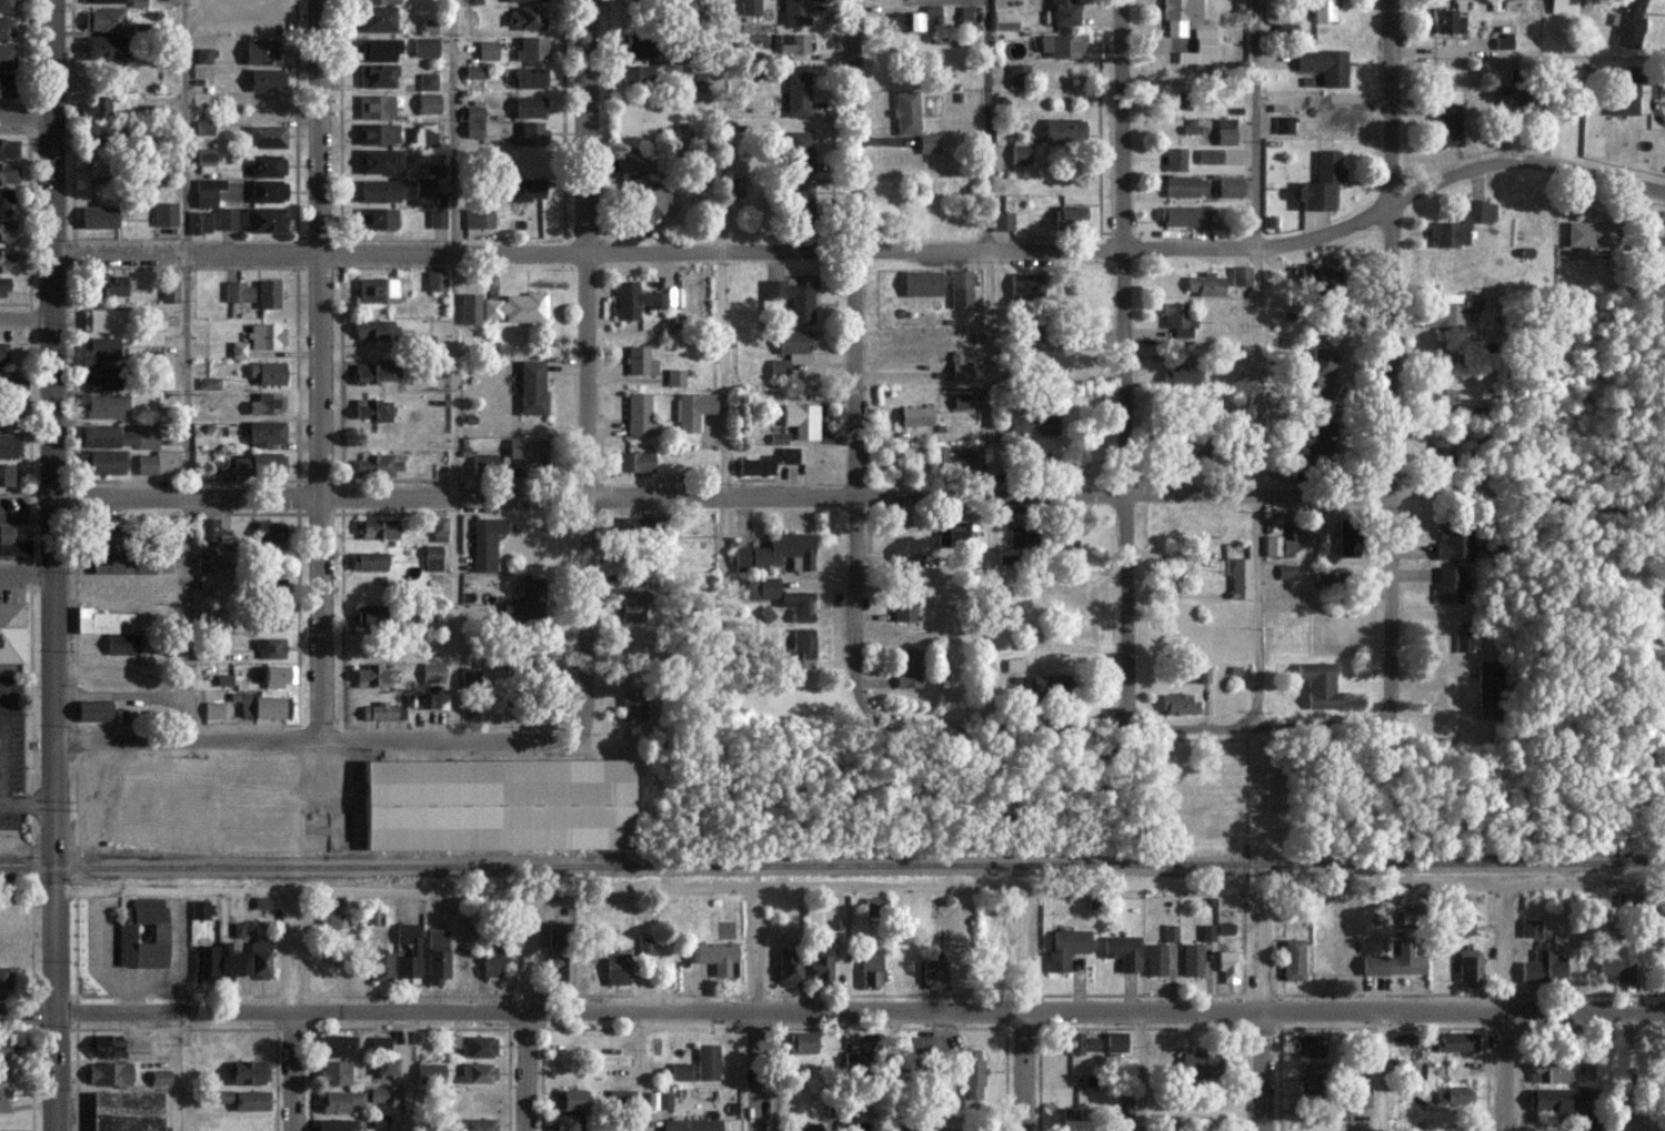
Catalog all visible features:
building: (526, 0)
building: (102, 1)
building: (377, 1)
building: (138, 2)
building: (1572, 6)
building: (6, 7)
building: (750, 7)
building: (931, 10)
building: (1324, 10)
building: (795, 12)
building: (1062, 12)
building: (1178, 14)
building: (965, 17)
building: (525, 18)
building: (375, 19)
building: (102, 20)
building: (1005, 20)
building: (906, 21)
building: (1445, 21)
building: (1628, 22)
building: (6, 29)
building: (1503, 41)
building: (793, 43)
building: (634, 44)
building: (1062, 46)
building: (1204, 46)
building: (424, 47)
building: (99, 48)
building: (377, 49)
building: (531, 49)
building: (488, 50)
building: (261, 51)
building: (204, 55)
building: (6, 58)
building: (1324, 65)
building: (473, 71)
building: (636, 73)
building: (1017, 73)
building: (377, 75)
building: (529, 77)
building: (265, 80)
building: (428, 81)
building: (4, 87)
building: (798, 93)
building: (1507, 98)
building: (1624, 98)
building: (428, 103)
building: (528, 105)
building: (94, 107)
building: (374, 107)
building: (473, 112)
building: (906, 112)
road: (27, 120)
road: (1255, 123)
building: (1284, 124)
building: (1446, 124)
building: (203, 127)
road: (716, 127)
road: (450, 128)
building: (472, 129)
building: (1063, 129)
building: (1225, 131)
building: (375, 133)
building: (532, 133)
building: (422, 134)
building: (265, 137)
building: (929, 142)
building: (9, 149)
building: (799, 151)
building: (1020, 154)
building: (1210, 155)
building: (635, 159)
building: (1175, 159)
building: (207, 160)
building: (378, 162)
building: (267, 165)
building: (8, 174)
building: (1320, 182)
building: (1185, 185)
building: (1230, 186)
building: (422, 188)
building: (518, 189)
building: (267, 190)
building: (208, 191)
building: (377, 191)
building: (645, 196)
building: (6, 202)
building: (164, 214)
building: (1067, 215)
building: (97, 216)
building: (1186, 216)
building: (227, 218)
building: (437, 219)
building: (479, 219)
building: (262, 220)
building: (375, 220)
building: (1002, 221)
building: (200, 222)
building: (7, 230)
building: (1589, 233)
building: (1444, 234)
building: (1653, 245)
road: (987, 248)
road: (1200, 249)
road: (315, 255)
road: (582, 255)
road: (118, 257)
building: (6, 260)
building: (1314, 274)
building: (1240, 276)
building: (435, 281)
building: (921, 283)
building: (107, 284)
building: (1200, 284)
building: (2, 285)
building: (1024, 285)
building: (961, 289)
building: (170, 290)
building: (381, 291)
building: (239, 292)
building: (268, 293)
building: (792, 299)
building: (635, 300)
building: (502, 307)
building: (1450, 309)
building: (154, 319)
building: (1176, 319)
building: (101, 320)
road: (27, 325)
building: (375, 331)
building: (265, 336)
building: (420, 340)
building: (794, 344)
building: (100, 347)
building: (238, 350)
building: (2, 354)
building: (150, 355)
road: (853, 359)
building: (640, 361)
road: (1124, 361)
road: (1386, 363)
road: (588, 364)
building: (1322, 365)
building: (779, 367)
building: (959, 367)
road: (319, 368)
road: (183, 370)
building: (374, 372)
building: (265, 373)
building: (97, 374)
road: (718, 374)
building: (1178, 374)
building: (675, 377)
building: (2, 382)
building: (160, 382)
building: (208, 383)
building: (531, 387)
building: (1437, 398)
building: (961, 401)
building: (267, 404)
building: (103, 405)
building: (364, 408)
building: (694, 410)
building: (915, 414)
building: (8, 415)
building: (640, 415)
building: (808, 421)
building: (1031, 423)
building: (264, 433)
building: (107, 437)
building: (147, 438)
building: (778, 438)
building: (10, 446)
building: (1443, 448)
building: (524, 451)
building: (789, 455)
building: (634, 461)
building: (969, 461)
building: (102, 462)
building: (159, 462)
building: (483, 462)
building: (265, 464)
building: (377, 465)
building: (754, 466)
building: (440, 469)
building: (6, 475)
road: (1255, 486)
road: (1060, 494)
road: (450, 496)
road: (252, 499)
building: (631, 524)
building: (438, 525)
building: (374, 528)
building: (207, 529)
building: (101, 534)
building: (265, 534)
building: (957, 534)
building: (1014, 536)
building: (10, 542)
building: (1286, 542)
building: (491, 543)
building: (1063, 543)
building: (1455, 544)
building: (778, 553)
building: (432, 557)
building: (208, 561)
building: (368, 561)
building: (121, 564)
road: (54, 565)
building: (1285, 570)
building: (1237, 576)
road: (27, 577)
building: (1451, 584)
building: (762, 587)
building: (270, 588)
building: (903, 603)
building: (633, 605)
building: (796, 605)
road: (991, 609)
building: (512, 610)
building: (765, 613)
building: (367, 615)
building: (268, 620)
building: (1649, 622)
building: (107, 629)
building: (11, 632)
building: (1463, 643)
building: (1475, 643)
building: (270, 647)
building: (1013, 665)
building: (907, 667)
building: (432, 673)
building: (277, 675)
building: (1202, 675)
building: (372, 676)
building: (223, 679)
road: (2, 684)
building: (1044, 684)
building: (1318, 685)
building: (1488, 687)
building: (437, 700)
building: (1176, 704)
building: (632, 707)
building: (212, 709)
building: (91, 710)
building: (379, 711)
road: (1127, 724)
road: (322, 738)
road: (6, 746)
building: (502, 805)
railway: (1381, 862)
railway: (548, 870)
road: (862, 889)
building: (263, 901)
building: (199, 909)
building: (328, 913)
building: (372, 916)
building: (1463, 927)
building: (1529, 927)
building: (1225, 928)
building: (1171, 931)
building: (142, 932)
building: (541, 932)
building: (1207, 932)
building: (644, 945)
building: (413, 948)
building: (1065, 948)
building: (1122, 951)
building: (437, 956)
building: (716, 956)
building: (259, 958)
building: (1155, 958)
building: (1193, 959)
building: (1293, 959)
building: (215, 960)
building: (818, 962)
building: (1394, 962)
building: (1544, 963)
building: (1617, 963)
building: (491, 965)
building: (786, 965)
building: (381, 966)
building: (1227, 966)
building: (1468, 966)
building: (870, 970)
building: (934, 972)
building: (618, 973)
building: (2, 976)
road: (759, 1009)
road: (1509, 1009)
road: (294, 1010)
road: (1029, 1010)
road: (1264, 1011)
road: (529, 1012)
road: (832, 1013)
building: (1115, 1040)
building: (801, 1041)
building: (1456, 1041)
building: (379, 1042)
building: (859, 1042)
building: (907, 1042)
building: (1074, 1042)
building: (335, 1044)
building: (1307, 1044)
building: (107, 1046)
building: (480, 1046)
building: (3, 1047)
building: (706, 1061)
building: (1197, 1063)
building: (385, 1066)
building: (1407, 1069)
building: (679, 1070)
road: (177, 1071)
building: (249, 1071)
road: (644, 1071)
building: (1549, 1071)
building: (334, 1072)
road: (411, 1072)
building: (430, 1072)
building: (475, 1072)
road: (893, 1072)
road: (1140, 1072)
road: (1385, 1072)
road: (1626, 1072)
building: (107, 1073)
building: (971, 1073)
building: (159, 1077)
building: (1454, 1093)
building: (380, 1094)
building: (620, 1094)
building: (221, 1095)
building: (570, 1099)
building: (664, 1099)
building: (1549, 1099)
building: (249, 1100)
building: (339, 1100)
building: (1125, 1108)
building: (126, 1111)
building: (379, 1121)
building: (563, 1122)
building: (335, 1124)
building: (475, 1124)
building: (691, 1124)
building: (861, 1128)
building: (1593, 1129)

